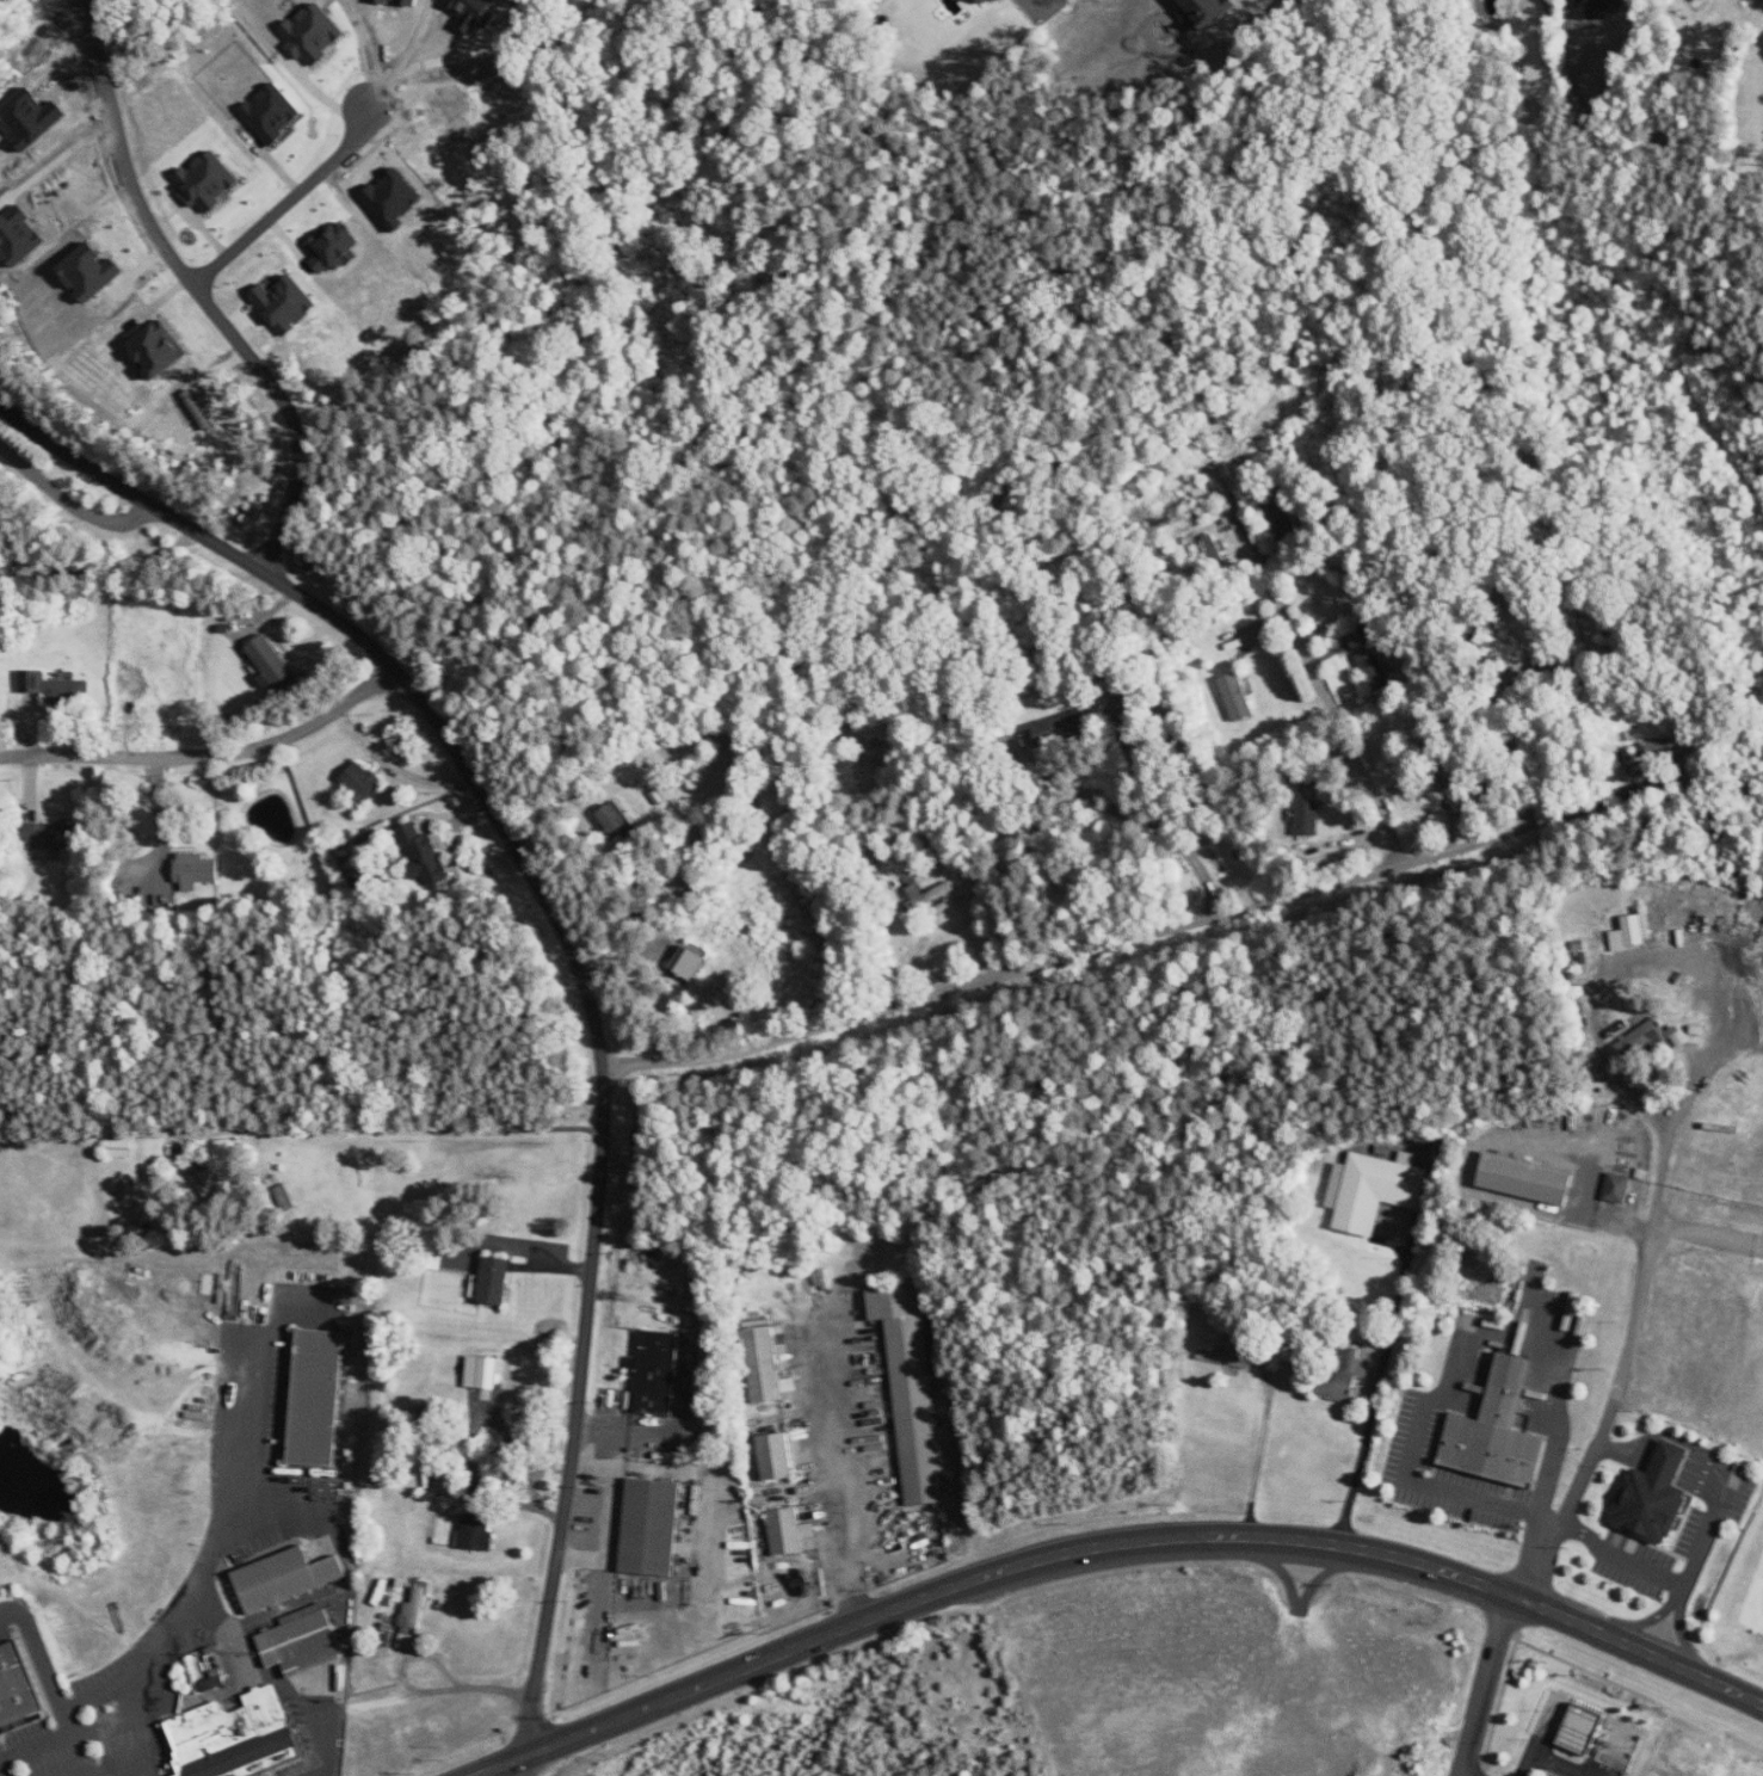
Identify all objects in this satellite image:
building: (985, 1)
building: (1001, 1)
building: (1207, 12)
building: (315, 33)
road: (389, 53)
road: (426, 56)
building: (273, 112)
building: (209, 180)
road: (289, 201)
building: (337, 247)
road: (201, 291)
building: (286, 303)
building: (159, 347)
road: (68, 499)
building: (1218, 553)
road: (101, 567)
building: (1590, 622)
building: (1358, 640)
building: (1499, 646)
building: (1375, 670)
road: (1319, 673)
building: (56, 687)
building: (1238, 696)
road: (384, 720)
building: (1062, 728)
building: (1654, 746)
road: (204, 748)
road: (1516, 751)
building: (363, 782)
building: (614, 818)
road: (1167, 820)
building: (54, 834)
building: (424, 855)
building: (197, 870)
building: (1633, 932)
road: (1120, 939)
road: (575, 950)
building: (691, 963)
building: (1651, 1038)
road: (406, 1128)
building: (121, 1148)
building: (1527, 1178)
building: (1617, 1188)
building: (1374, 1190)
road: (1585, 1210)
road: (1708, 1239)
building: (437, 1258)
building: (495, 1281)
road: (1636, 1305)
building: (758, 1322)
building: (1350, 1355)
road: (1463, 1356)
building: (764, 1364)
building: (483, 1371)
building: (656, 1373)
building: (1338, 1386)
road: (1376, 1386)
building: (912, 1389)
building: (318, 1398)
building: (1498, 1431)
road: (248, 1438)
road: (1628, 1447)
building: (777, 1456)
road: (1670, 1456)
road: (1260, 1460)
road: (846, 1467)
building: (1654, 1497)
road: (612, 1515)
road: (1712, 1515)
building: (652, 1528)
building: (787, 1531)
building: (479, 1533)
road: (1109, 1542)
road: (1622, 1556)
building: (286, 1578)
road: (1681, 1593)
building: (414, 1616)
road: (1645, 1621)
road: (1682, 1638)
building: (303, 1641)
road: (152, 1649)
building: (208, 1672)
road: (266, 1675)
road: (1484, 1682)
building: (18, 1686)
road: (98, 1688)
road: (424, 1694)
road: (60, 1696)
building: (1582, 1728)
building: (236, 1737)
road: (1553, 1758)
road: (115, 1762)
road: (525, 1763)
road: (322, 1771)
road: (1461, 1775)

